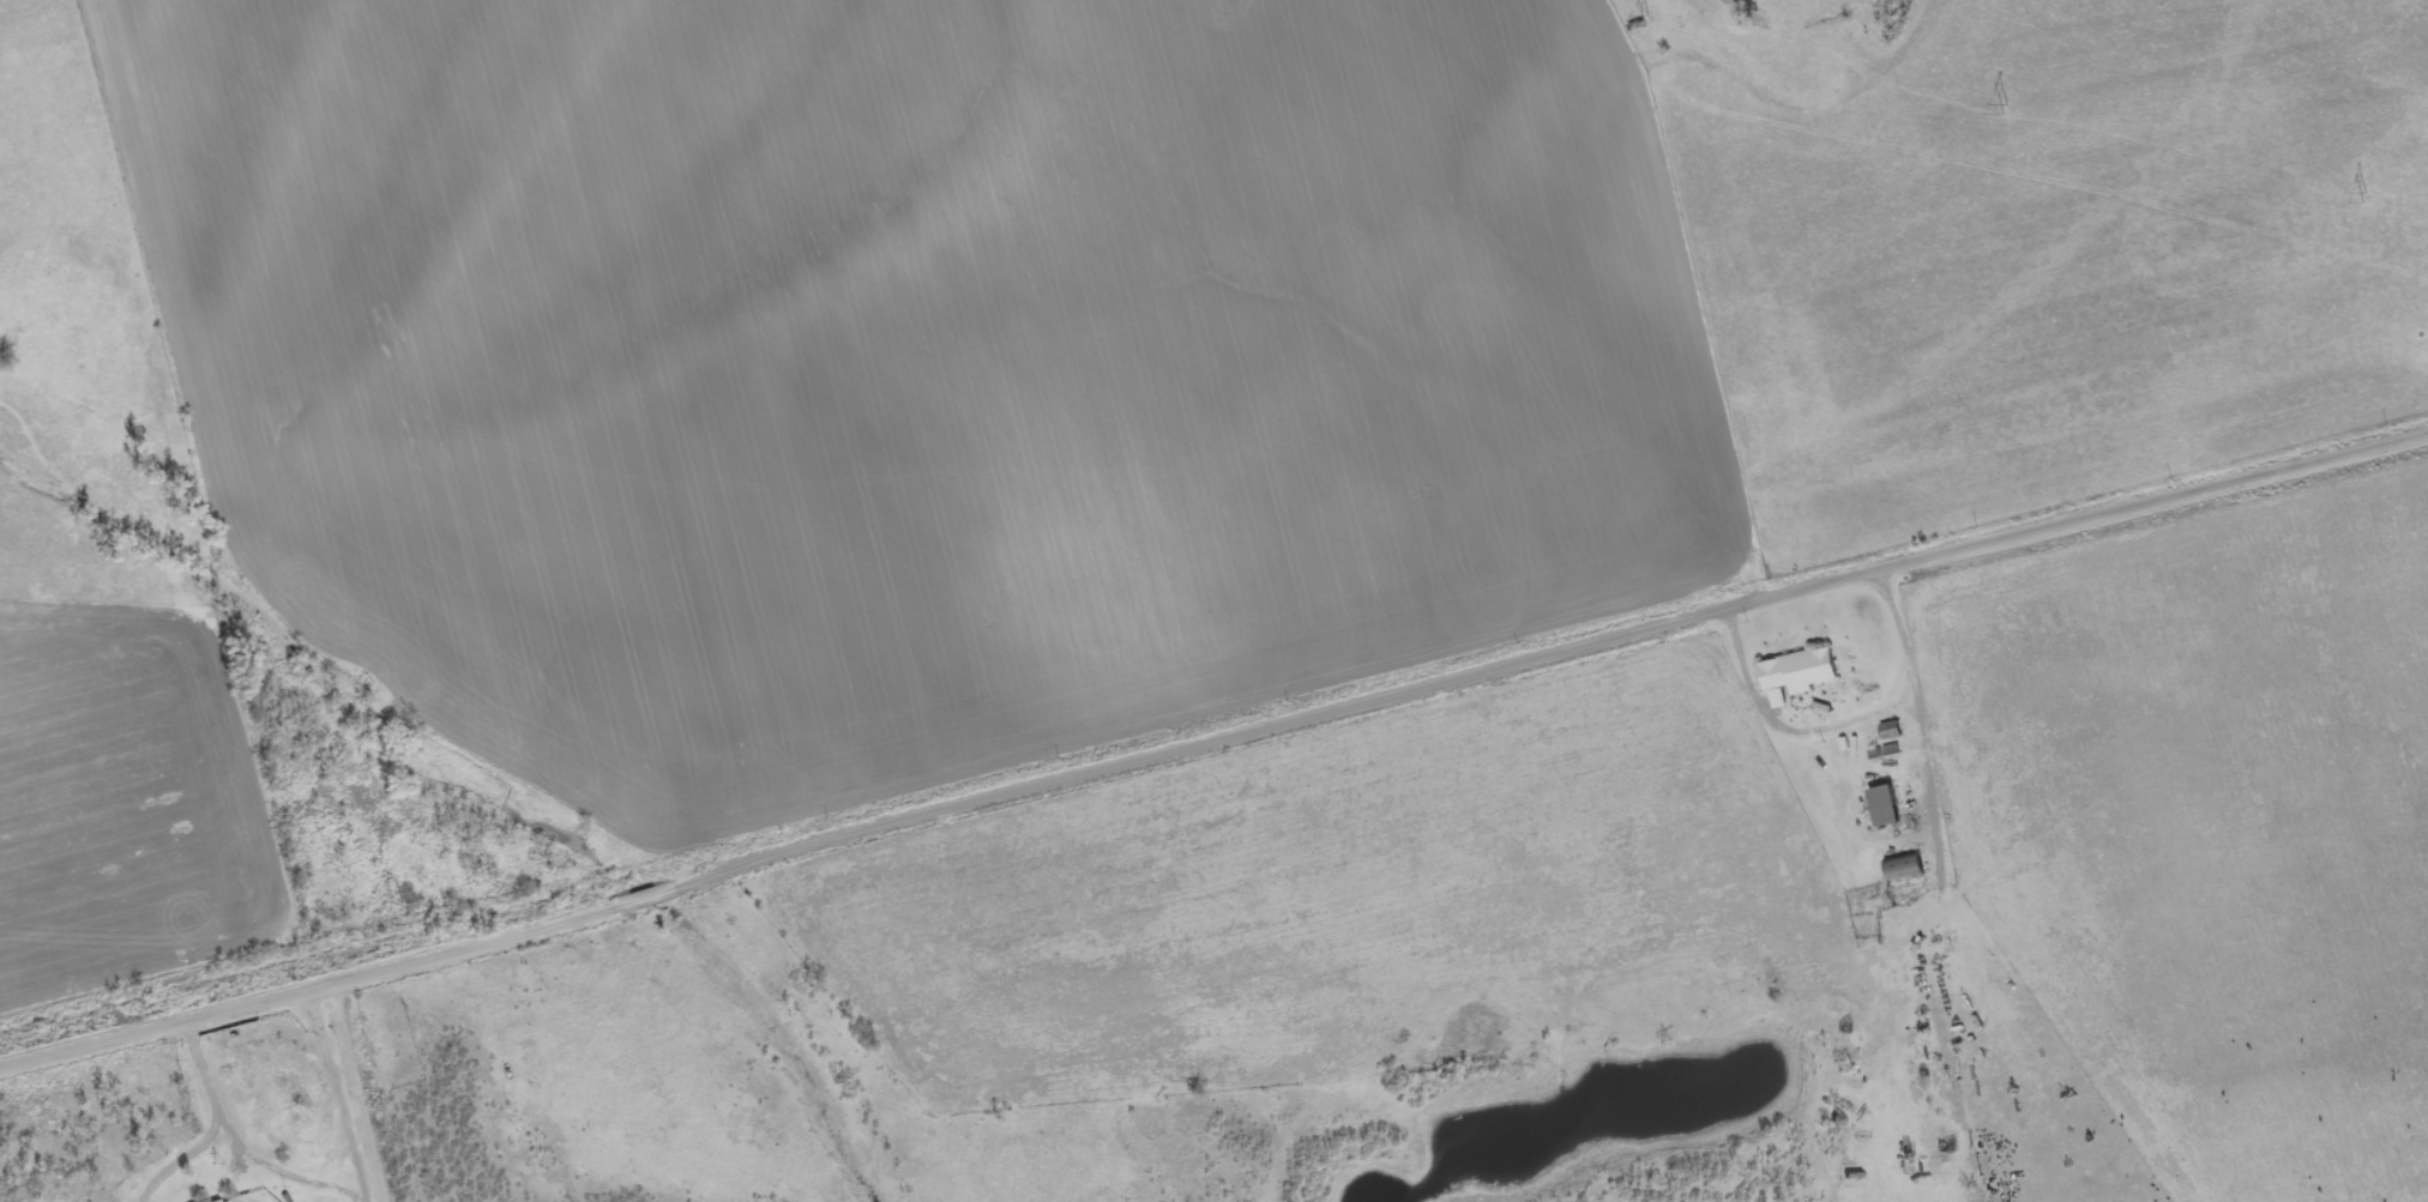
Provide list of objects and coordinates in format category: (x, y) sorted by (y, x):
power tower: (1647, 20)
power tower: (2006, 108)
power tower: (2367, 197)
building: (1797, 671)
road: (1213, 742)
building: (1884, 808)
building: (1905, 866)
building: (224, 1201)

